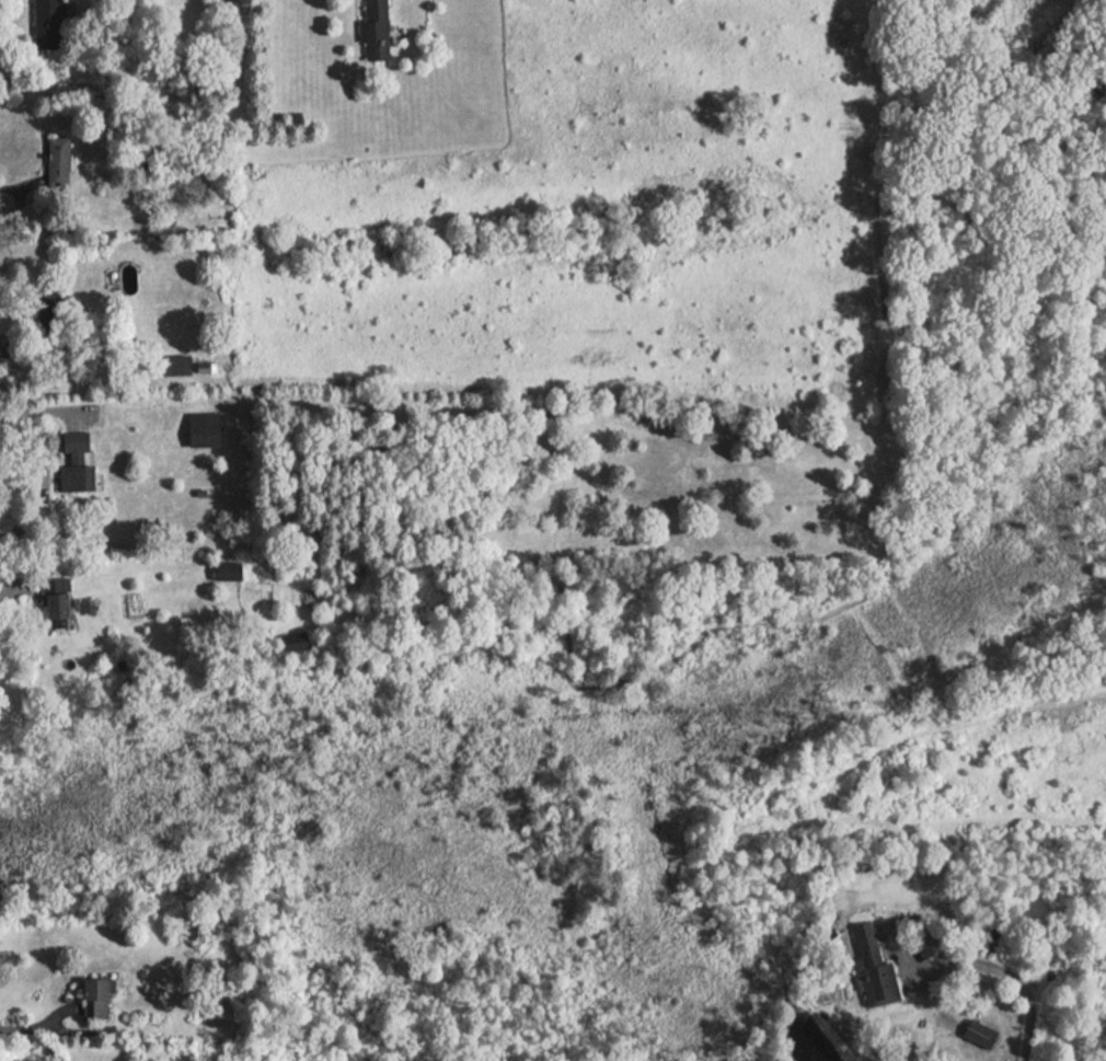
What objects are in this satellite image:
building: (369, 31)
building: (54, 162)
road: (18, 182)
building: (223, 573)
building: (875, 985)
road: (1025, 992)
building: (216, 1000)
building: (93, 1006)
road: (35, 1028)

